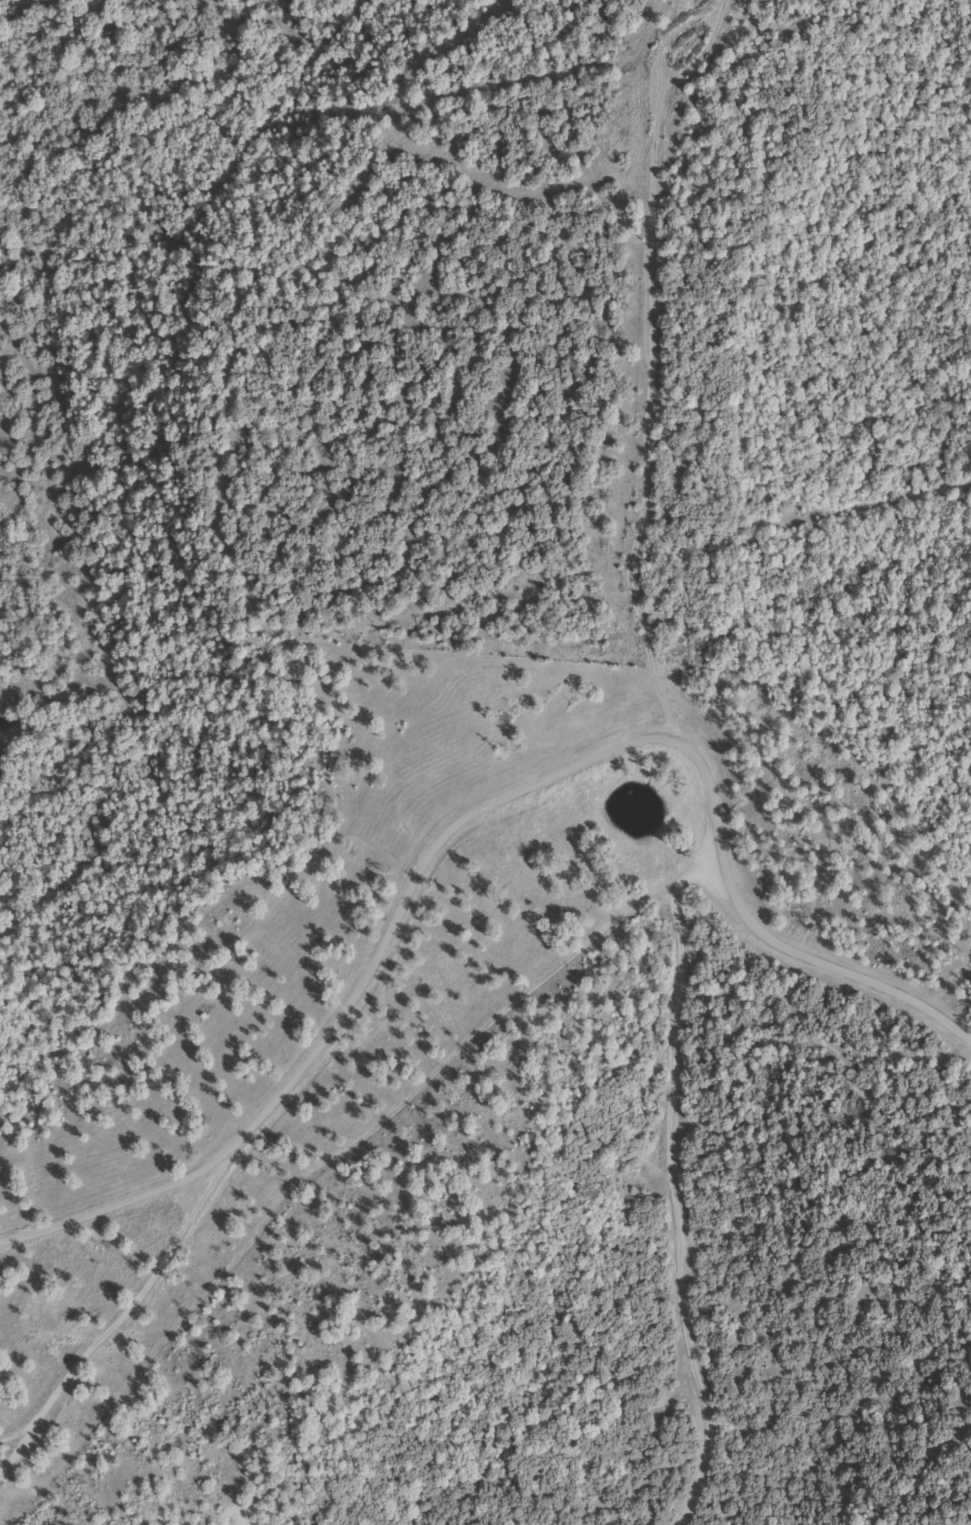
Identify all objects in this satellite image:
road: (475, 811)
road: (670, 1175)
road: (110, 1327)
road: (17, 1432)

